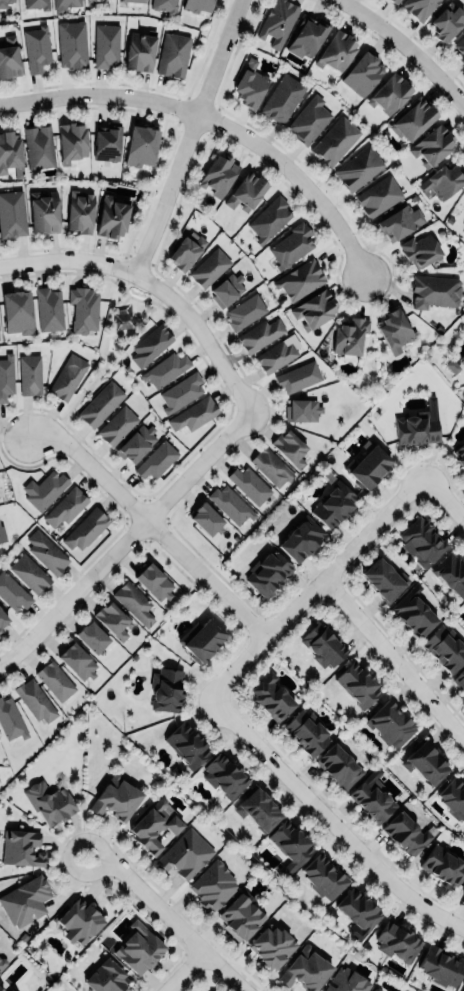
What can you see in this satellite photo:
building: (91, 1)
building: (133, 1)
building: (395, 1)
building: (5, 2)
building: (37, 4)
building: (64, 5)
building: (198, 5)
building: (164, 6)
building: (419, 7)
building: (277, 22)
building: (447, 22)
building: (309, 35)
building: (72, 44)
building: (106, 45)
road: (408, 47)
building: (36, 48)
building: (460, 48)
building: (139, 51)
building: (337, 51)
building: (173, 54)
building: (10, 58)
building: (363, 74)
building: (250, 85)
building: (390, 94)
building: (282, 99)
building: (413, 119)
building: (309, 120)
road: (218, 123)
road: (187, 136)
building: (71, 141)
building: (335, 141)
building: (106, 143)
building: (432, 145)
building: (39, 146)
building: (141, 146)
building: (9, 150)
building: (358, 168)
building: (219, 174)
building: (443, 180)
building: (246, 191)
building: (378, 196)
building: (44, 212)
building: (80, 212)
building: (12, 214)
building: (113, 216)
building: (269, 219)
building: (398, 223)
building: (463, 228)
building: (291, 246)
building: (420, 250)
building: (185, 252)
building: (209, 267)
road: (168, 279)
building: (299, 280)
road: (153, 285)
building: (226, 290)
building: (434, 290)
road: (188, 295)
building: (49, 309)
building: (83, 310)
building: (313, 310)
building: (17, 312)
road: (204, 312)
building: (244, 312)
building: (394, 330)
road: (217, 333)
building: (260, 335)
building: (349, 336)
building: (150, 344)
building: (275, 356)
road: (232, 357)
road: (105, 363)
building: (165, 369)
building: (30, 374)
building: (6, 376)
building: (68, 377)
building: (297, 377)
road: (247, 378)
building: (180, 392)
road: (260, 393)
building: (100, 404)
road: (266, 410)
building: (302, 410)
building: (194, 414)
building: (117, 425)
road: (260, 426)
building: (416, 428)
road: (242, 442)
building: (136, 443)
building: (290, 448)
building: (460, 455)
building: (157, 460)
road: (221, 461)
building: (271, 467)
building: (367, 468)
road: (201, 481)
building: (249, 485)
building: (45, 489)
road: (188, 495)
road: (443, 497)
building: (231, 505)
building: (333, 505)
building: (66, 506)
building: (205, 519)
road: (150, 522)
building: (85, 529)
building: (2, 534)
road: (126, 538)
building: (301, 539)
building: (423, 540)
building: (45, 552)
building: (267, 573)
building: (29, 574)
building: (452, 576)
building: (384, 580)
building: (154, 581)
road: (314, 585)
building: (12, 593)
building: (133, 602)
building: (463, 609)
building: (413, 615)
building: (113, 619)
building: (2, 620)
building: (91, 637)
building: (201, 640)
building: (323, 645)
building: (444, 648)
road: (392, 660)
building: (77, 661)
building: (459, 678)
building: (55, 680)
building: (357, 684)
building: (165, 690)
building: (271, 697)
building: (35, 700)
building: (11, 720)
building: (389, 723)
building: (306, 732)
building: (187, 745)
building: (425, 764)
building: (339, 765)
building: (224, 777)
building: (115, 798)
building: (372, 798)
building: (453, 799)
building: (49, 802)
building: (257, 810)
road: (328, 822)
building: (155, 827)
building: (405, 834)
building: (290, 845)
building: (21, 849)
building: (185, 854)
building: (443, 866)
building: (323, 877)
building: (213, 886)
building: (463, 892)
building: (25, 901)
building: (358, 911)
building: (241, 917)
road: (166, 920)
building: (79, 921)
building: (397, 942)
building: (272, 948)
building: (139, 949)
building: (2, 963)
building: (441, 966)
building: (305, 969)
road: (181, 972)
building: (106, 978)
building: (346, 981)
building: (376, 989)
building: (463, 989)
building: (1, 990)
building: (8, 990)
building: (11, 990)
building: (208, 990)

